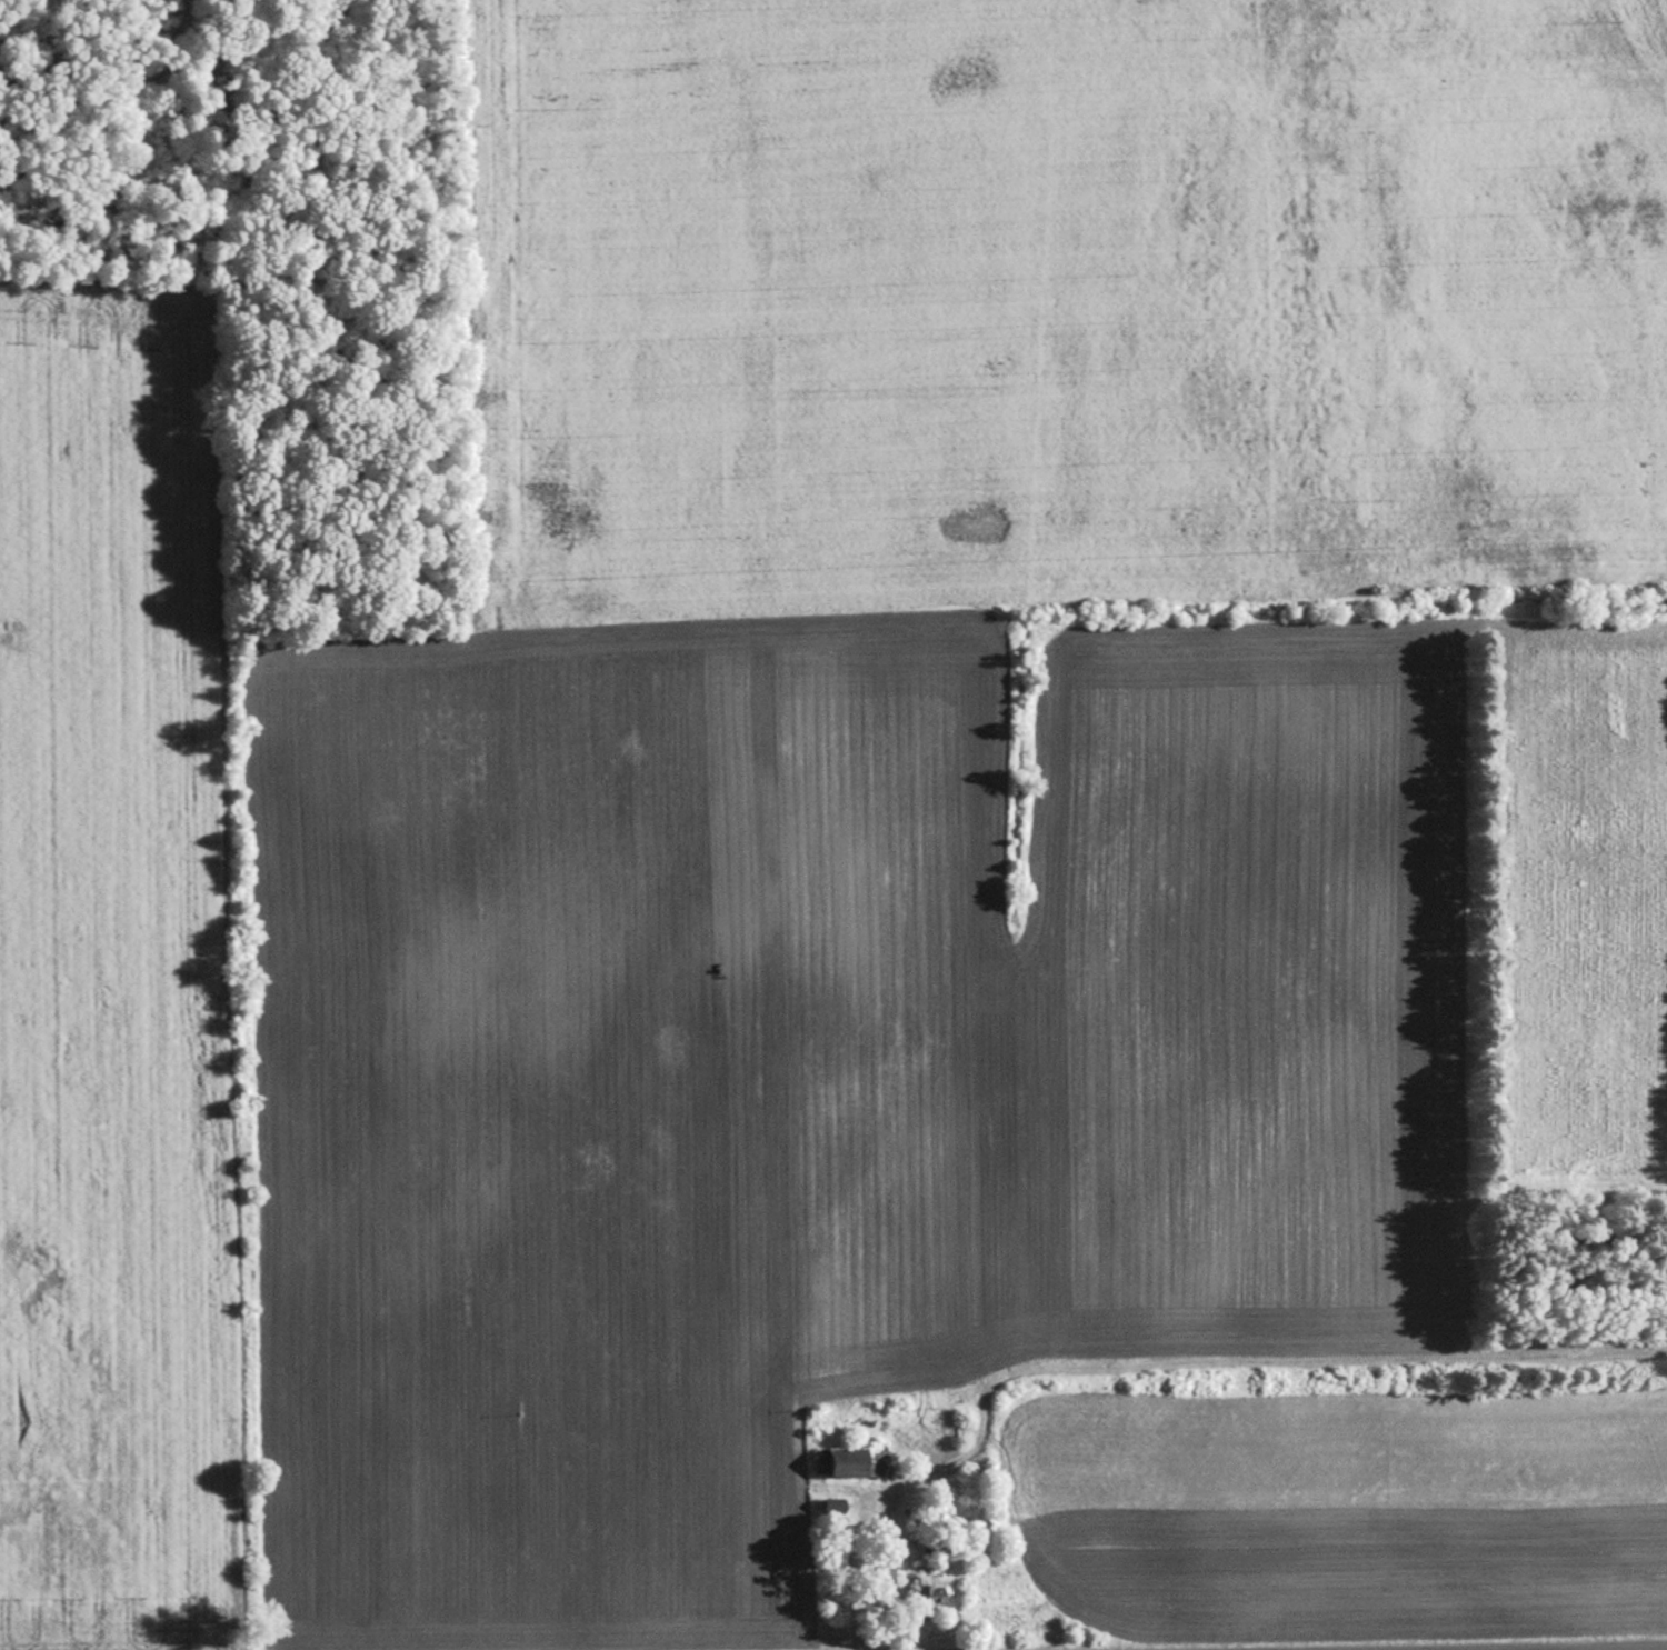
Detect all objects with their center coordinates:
building: (847, 1462)
building: (925, 1592)
road: (1585, 1648)

